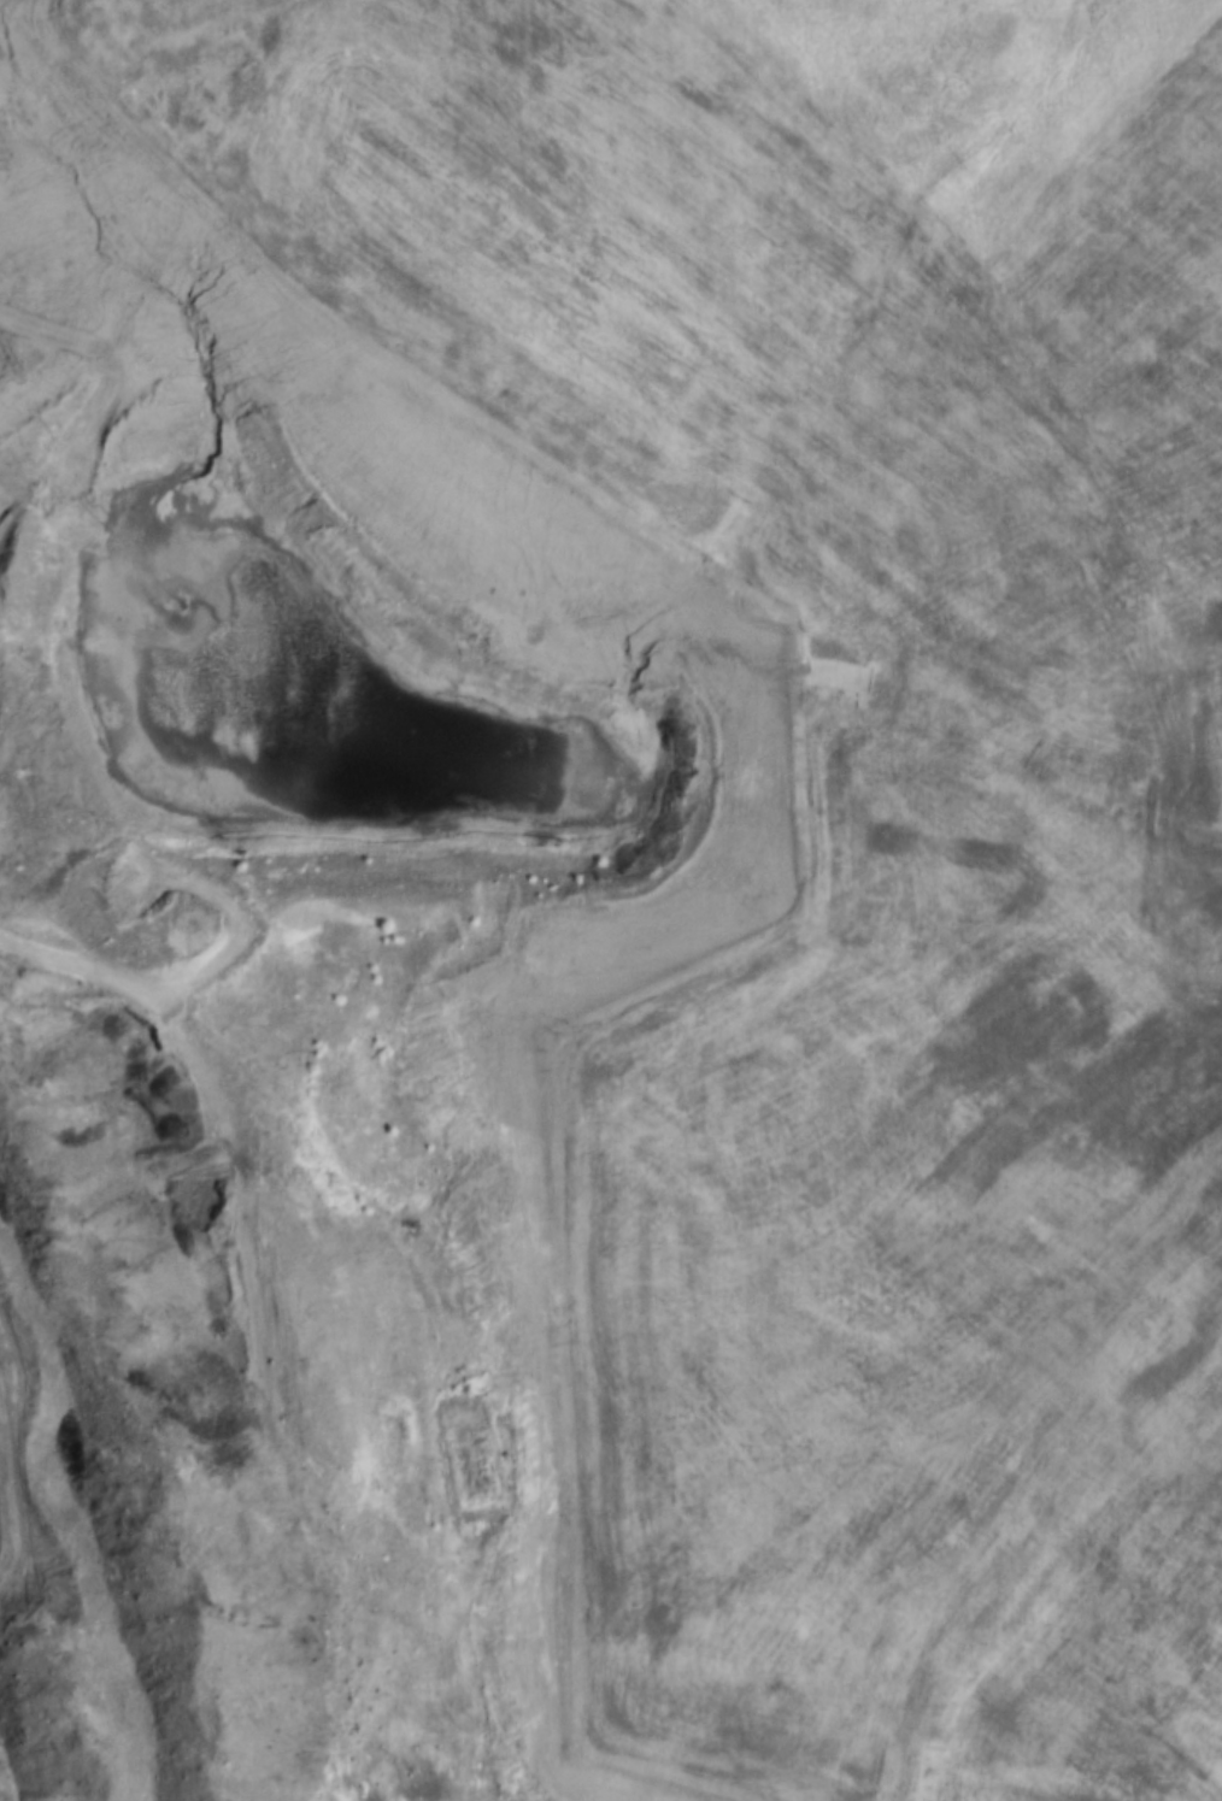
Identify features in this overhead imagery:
road: (1179, 1287)

